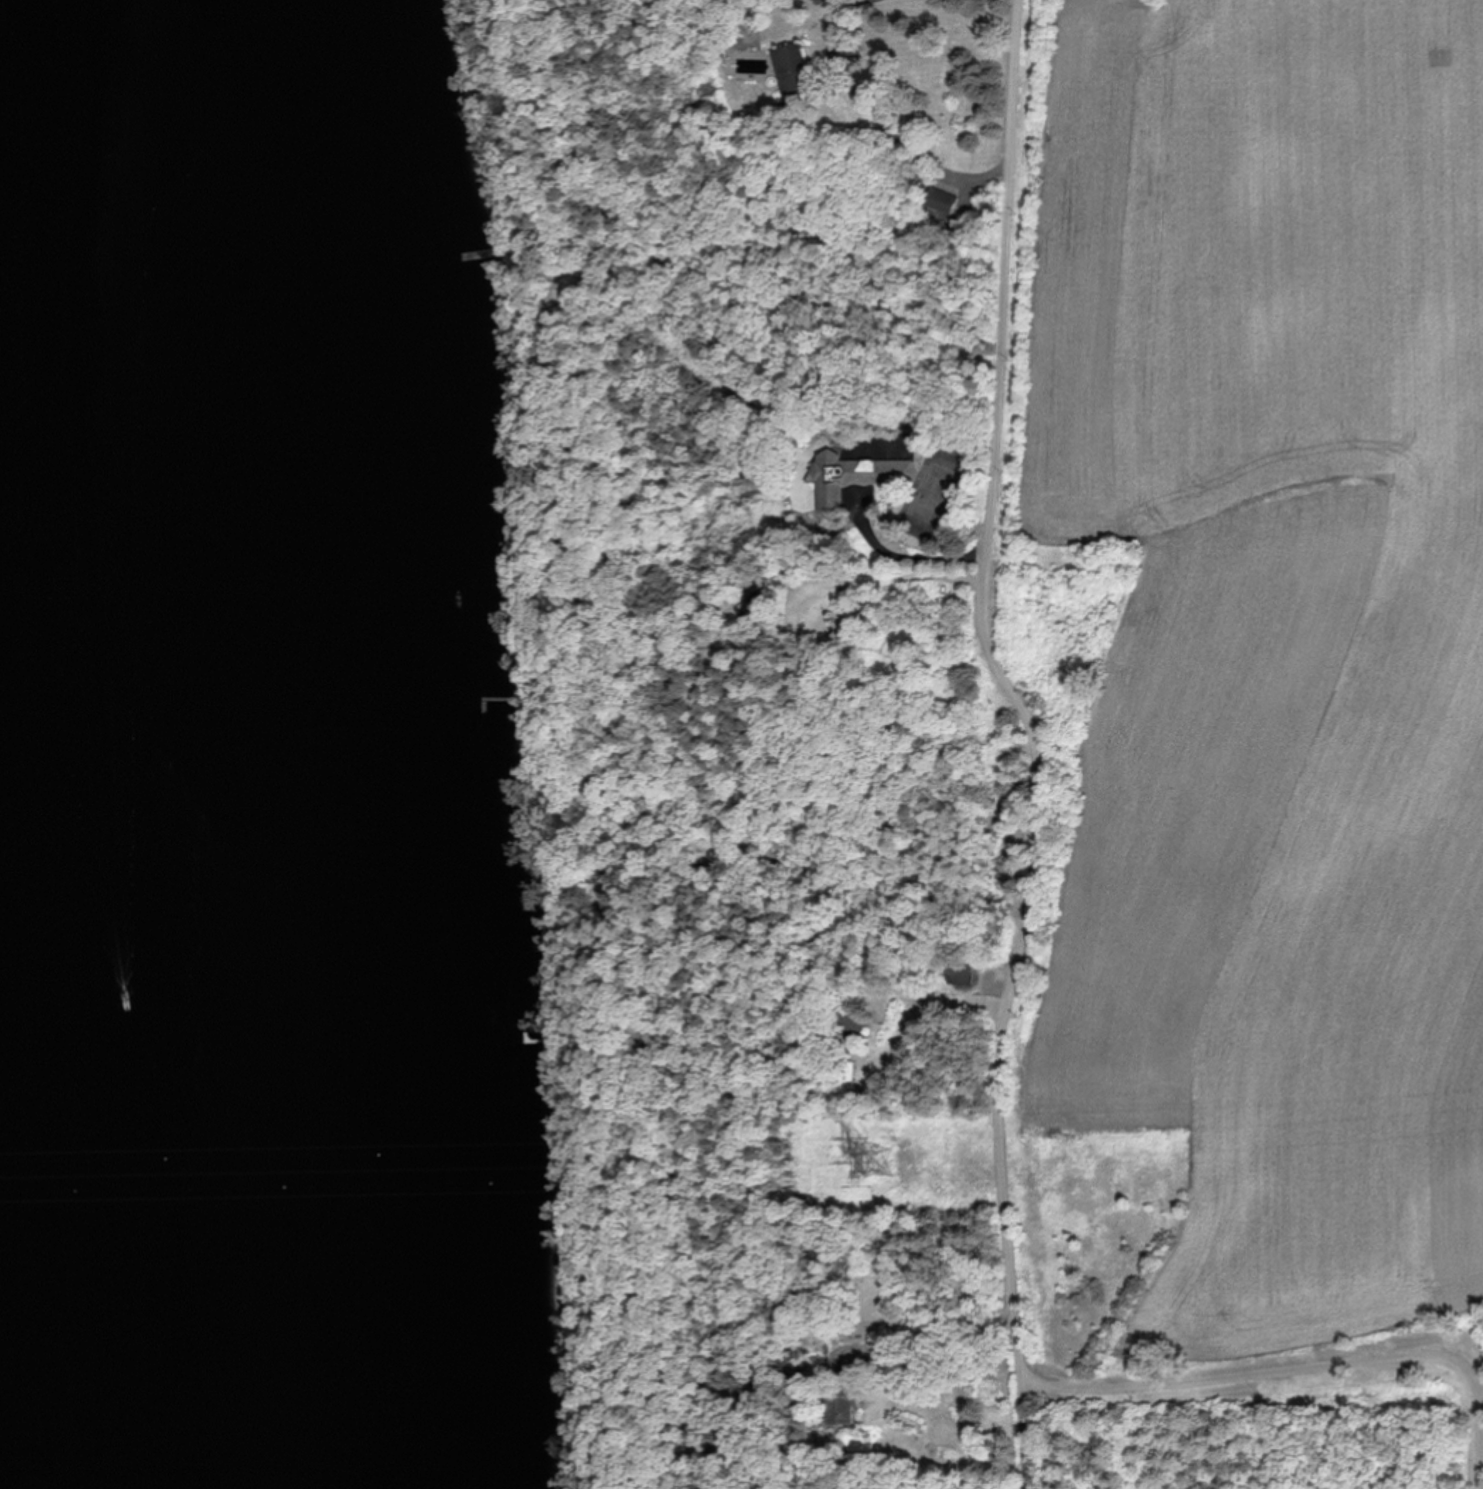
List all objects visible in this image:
building: (798, 71)
road: (880, 120)
building: (944, 204)
building: (856, 475)
crop: (1249, 695)
road: (1040, 740)
building: (962, 975)
river: (21, 1139)
power tower: (884, 1159)
road: (1308, 1368)
building: (852, 1400)

